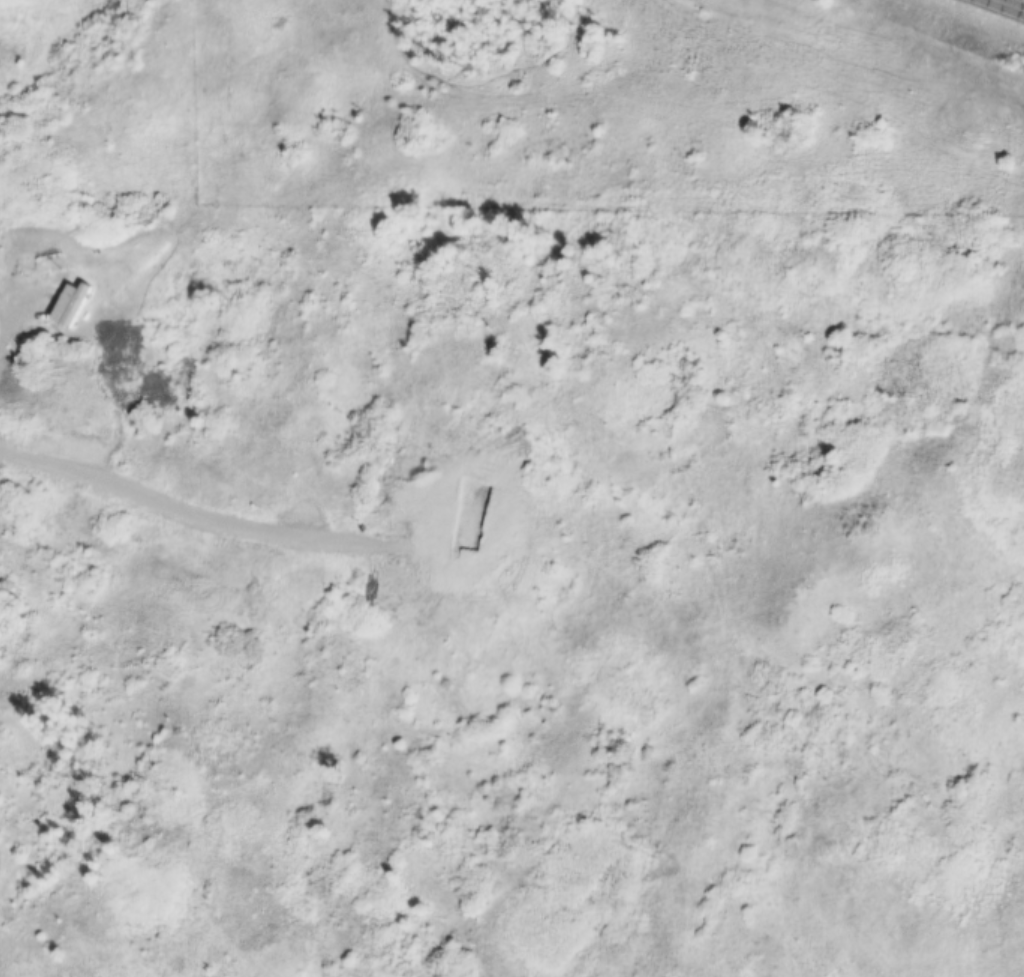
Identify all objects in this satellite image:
road: (1012, 4)
building: (75, 304)
road: (17, 320)

